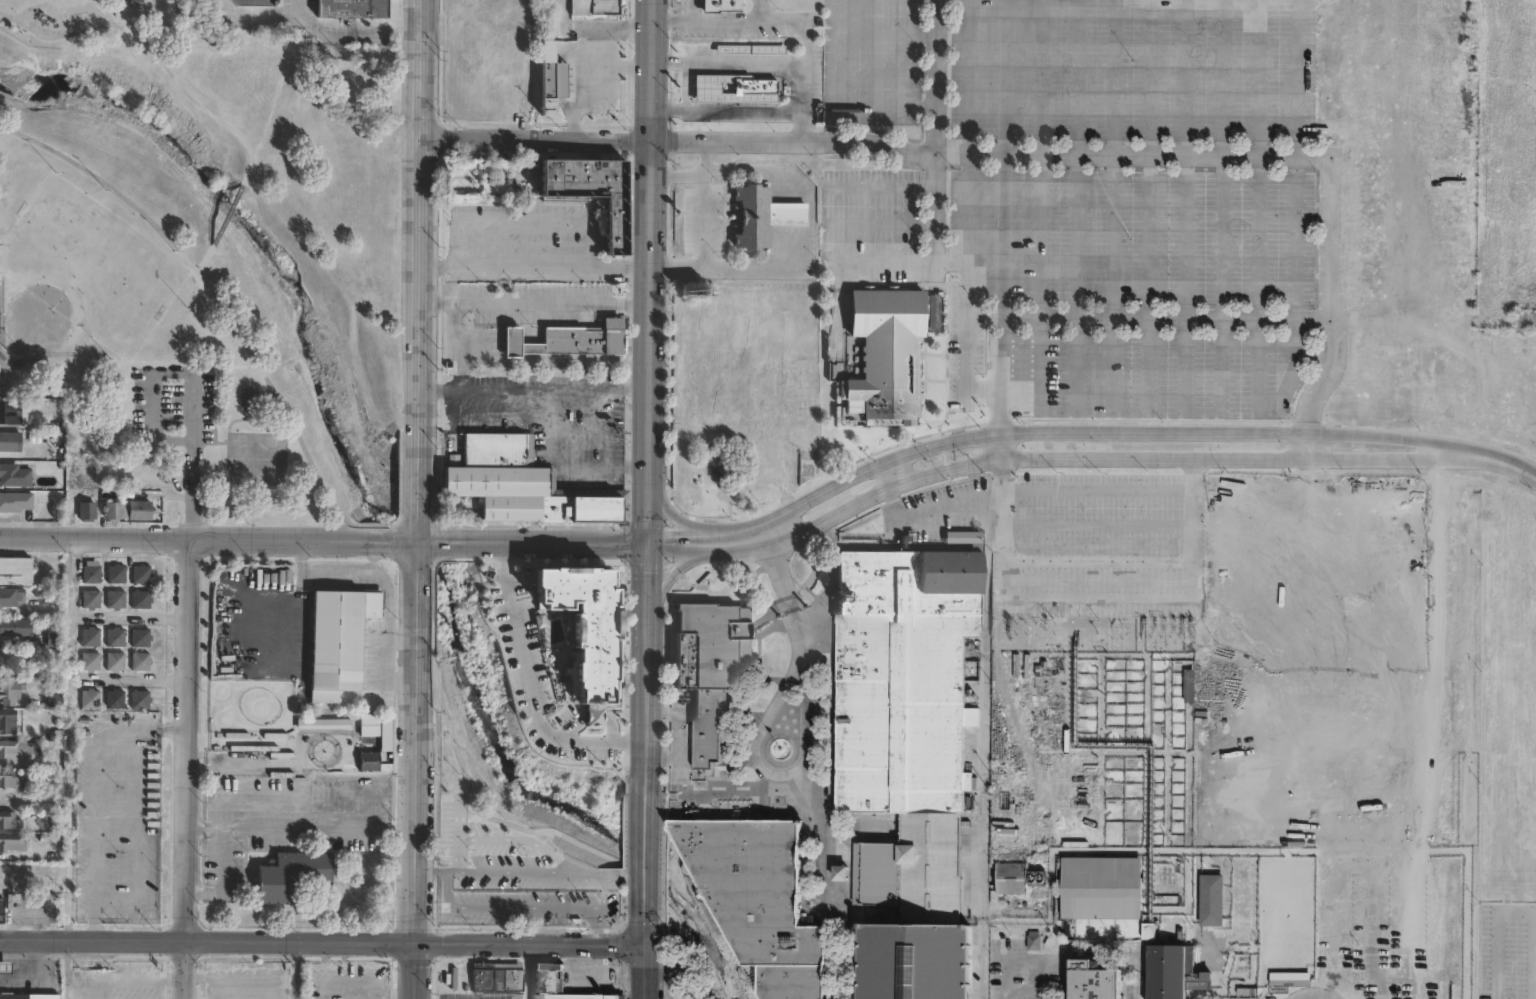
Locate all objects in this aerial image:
building: (256, 3)
building: (721, 5)
building: (590, 7)
building: (350, 8)
road: (717, 20)
road: (802, 21)
road: (352, 27)
road: (603, 31)
road: (865, 32)
building: (750, 48)
road: (152, 51)
road: (727, 59)
road: (575, 64)
road: (1185, 77)
road: (1258, 78)
building: (545, 79)
road: (685, 84)
road: (803, 85)
building: (734, 87)
road: (829, 88)
road: (725, 110)
road: (802, 125)
road: (968, 131)
road: (534, 137)
road: (674, 138)
road: (849, 141)
road: (1114, 155)
building: (494, 167)
building: (493, 187)
road: (877, 188)
building: (588, 191)
road: (1002, 195)
road: (1331, 200)
road: (1040, 205)
road: (1076, 205)
road: (1113, 206)
road: (1149, 206)
road: (1221, 206)
road: (226, 215)
building: (760, 216)
road: (421, 220)
road: (527, 221)
road: (877, 224)
road: (808, 225)
park: (209, 246)
road: (702, 249)
road: (204, 259)
road: (882, 261)
road: (534, 265)
road: (647, 271)
road: (1183, 283)
road: (1257, 284)
road: (1294, 289)
road: (209, 291)
building: (695, 292)
road: (966, 292)
road: (534, 301)
road: (1165, 320)
building: (568, 340)
building: (884, 355)
road: (153, 372)
road: (533, 388)
building: (247, 398)
building: (9, 410)
parking lot: (551, 419)
road: (1098, 429)
building: (7, 440)
road: (1307, 444)
road: (1001, 446)
park: (240, 456)
road: (1250, 456)
road: (1495, 456)
park: (270, 457)
road: (1379, 457)
road: (975, 463)
road: (562, 467)
building: (135, 470)
road: (888, 473)
road: (1194, 474)
building: (15, 475)
building: (518, 484)
road: (191, 487)
road: (418, 490)
building: (16, 502)
parking lot: (947, 507)
road: (927, 509)
building: (138, 510)
building: (86, 511)
building: (112, 512)
road: (677, 519)
road: (395, 524)
road: (1098, 524)
building: (962, 536)
road: (746, 537)
road: (95, 538)
road: (274, 539)
road: (388, 539)
road: (440, 540)
road: (1003, 541)
road: (554, 542)
road: (684, 543)
parking lot: (1097, 543)
traffic signals: (646, 544)
road: (440, 546)
road: (1193, 551)
road: (418, 557)
road: (1098, 560)
road: (677, 567)
road: (780, 570)
building: (14, 571)
building: (89, 573)
building: (114, 573)
building: (139, 573)
road: (646, 579)
building: (12, 597)
building: (89, 597)
building: (114, 598)
building: (139, 598)
road: (137, 614)
road: (431, 625)
building: (15, 627)
building: (586, 631)
building: (89, 636)
building: (138, 636)
building: (113, 637)
building: (338, 639)
road: (1120, 653)
parking lot: (563, 656)
building: (88, 660)
building: (113, 661)
building: (138, 661)
building: (710, 673)
building: (903, 678)
road: (134, 679)
road: (529, 687)
building: (10, 689)
building: (88, 698)
building: (112, 698)
building: (137, 698)
road: (1066, 701)
road: (646, 708)
building: (10, 721)
building: (323, 724)
road: (984, 724)
road: (759, 728)
building: (388, 733)
road: (187, 740)
building: (369, 741)
road: (1100, 750)
road: (1167, 750)
road: (1114, 751)
road: (1146, 751)
building: (19, 753)
road: (417, 759)
road: (810, 767)
building: (12, 779)
road: (751, 790)
road: (683, 793)
building: (1014, 800)
road: (665, 804)
road: (1188, 804)
parking lot: (116, 816)
building: (11, 821)
road: (301, 833)
road: (567, 839)
building: (13, 844)
road: (646, 847)
road: (1119, 849)
road: (665, 867)
building: (913, 867)
building: (841, 872)
road: (544, 873)
building: (291, 874)
road: (432, 874)
building: (1007, 880)
parking lot: (512, 881)
building: (749, 884)
building: (1101, 887)
building: (1211, 900)
building: (1423, 901)
road: (508, 909)
building: (1, 910)
road: (1515, 911)
road: (646, 919)
road: (594, 928)
building: (1169, 931)
building: (1148, 932)
building: (1032, 940)
road: (93, 941)
road: (301, 944)
road: (531, 946)
traffic signals: (646, 947)
parking lot: (1507, 950)
road: (1031, 956)
road: (665, 957)
road: (675, 961)
road: (837, 961)
road: (850, 961)
building: (915, 962)
stadium: (915, 962)
building: (4, 967)
gas station: (4, 967)
road: (186, 971)
road: (297, 971)
building: (1168, 971)
road: (416, 972)
road: (526, 972)
parking lot: (1024, 972)
road: (645, 973)
road: (34, 978)
building: (495, 978)
building: (784, 979)
building: (1092, 981)
parking lot: (350, 982)
building: (557, 985)
road: (712, 988)
building: (1285, 988)
building: (13, 996)
building: (42, 996)
parking lot: (473, 998)
road: (995, 998)

